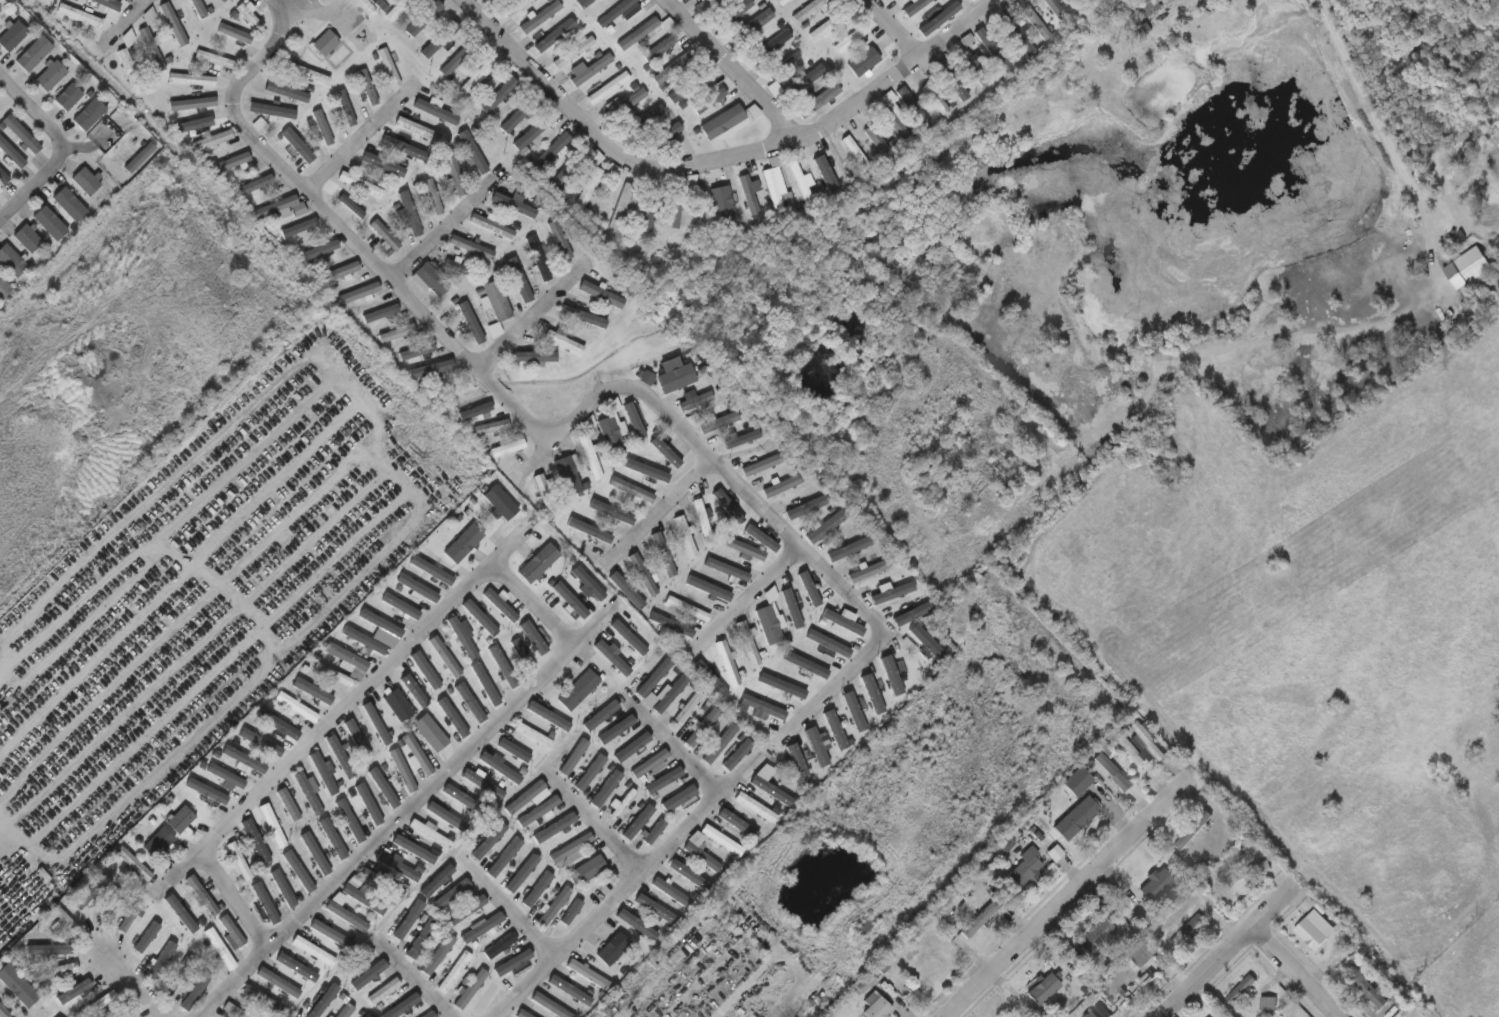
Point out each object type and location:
building: (229, 0)
building: (490, 0)
building: (890, 0)
building: (781, 2)
building: (584, 3)
building: (106, 4)
building: (706, 4)
building: (1087, 4)
building: (380, 5)
building: (507, 7)
building: (915, 7)
building: (0, 8)
building: (1150, 8)
building: (399, 9)
building: (810, 9)
road: (296, 10)
building: (1056, 10)
building: (616, 13)
building: (539, 16)
building: (248, 17)
building: (936, 19)
building: (82, 22)
building: (1036, 23)
building: (172, 24)
building: (831, 24)
road: (127, 25)
building: (750, 26)
road: (890, 30)
building: (645, 31)
building: (234, 34)
building: (12, 36)
building: (850, 39)
building: (444, 40)
building: (326, 43)
building: (770, 46)
building: (151, 48)
building: (996, 50)
building: (573, 52)
building: (32, 54)
building: (866, 59)
building: (215, 60)
building: (459, 60)
building: (129, 64)
road: (726, 67)
building: (976, 67)
building: (390, 69)
building: (591, 69)
building: (674, 69)
building: (308, 74)
building: (49, 75)
building: (477, 78)
building: (561, 79)
building: (191, 80)
road: (939, 82)
building: (689, 87)
building: (608, 88)
building: (285, 92)
building: (831, 92)
building: (498, 95)
building: (67, 97)
building: (626, 103)
building: (192, 104)
building: (273, 112)
building: (87, 116)
building: (722, 122)
building: (190, 124)
road: (48, 125)
building: (897, 126)
building: (323, 127)
building: (418, 131)
building: (19, 134)
building: (672, 136)
building: (878, 140)
building: (213, 141)
road: (357, 144)
building: (403, 146)
building: (560, 148)
building: (856, 152)
building: (10, 155)
building: (139, 157)
road: (715, 158)
building: (235, 163)
building: (576, 166)
building: (3, 178)
building: (452, 178)
building: (84, 181)
building: (800, 182)
building: (364, 184)
building: (596, 184)
building: (771, 189)
building: (748, 195)
road: (21, 199)
building: (65, 200)
building: (679, 201)
building: (276, 207)
building: (621, 208)
building: (409, 214)
building: (49, 222)
building: (491, 225)
building: (300, 229)
road: (442, 230)
road: (343, 233)
building: (385, 235)
building: (25, 239)
building: (470, 247)
building: (321, 252)
building: (536, 258)
building: (10, 261)
building: (458, 269)
building: (339, 273)
building: (429, 285)
building: (3, 288)
building: (359, 294)
building: (600, 294)
building: (497, 306)
road: (534, 314)
building: (381, 315)
road: (1339, 326)
building: (397, 335)
building: (565, 341)
building: (423, 353)
building: (695, 402)
building: (717, 422)
building: (588, 425)
building: (491, 427)
building: (612, 428)
building: (507, 448)
building: (589, 456)
building: (761, 464)
building: (651, 468)
building: (993, 472)
building: (566, 475)
building: (781, 484)
road: (171, 485)
building: (631, 490)
building: (544, 492)
road: (416, 496)
building: (500, 501)
road: (763, 510)
road: (658, 514)
building: (700, 517)
building: (685, 535)
building: (463, 543)
building: (745, 548)
building: (663, 553)
building: (538, 563)
building: (870, 570)
building: (434, 572)
building: (642, 572)
road: (745, 602)
road: (536, 603)
building: (399, 605)
building: (686, 607)
building: (770, 618)
building: (379, 622)
building: (362, 639)
building: (629, 639)
building: (748, 641)
building: (523, 654)
building: (347, 659)
building: (445, 659)
building: (502, 666)
building: (333, 675)
building: (711, 675)
building: (653, 677)
building: (413, 684)
building: (485, 684)
building: (578, 690)
building: (670, 692)
building: (470, 702)
building: (397, 704)
building: (688, 706)
building: (296, 707)
building: (279, 724)
building: (702, 726)
road: (324, 730)
building: (430, 733)
building: (533, 735)
building: (356, 738)
building: (1148, 743)
road: (676, 746)
building: (514, 749)
building: (1131, 750)
building: (416, 754)
building: (575, 757)
building: (341, 758)
building: (243, 760)
building: (649, 762)
building: (499, 766)
building: (401, 770)
building: (1114, 771)
building: (323, 774)
building: (225, 776)
building: (661, 781)
building: (1077, 781)
building: (484, 785)
building: (526, 797)
building: (366, 802)
building: (288, 804)
building: (456, 805)
building: (755, 807)
building: (1104, 810)
building: (538, 811)
road: (405, 814)
building: (1074, 815)
building: (180, 819)
building: (349, 820)
road: (595, 823)
building: (272, 825)
road: (5, 829)
building: (1192, 830)
building: (429, 833)
building: (655, 834)
road: (5, 838)
building: (721, 840)
building: (257, 841)
building: (157, 842)
building: (571, 850)
building: (313, 851)
building: (701, 855)
building: (238, 861)
building: (399, 868)
building: (588, 870)
building: (1028, 870)
building: (299, 871)
building: (1248, 872)
building: (687, 877)
building: (1157, 885)
building: (384, 886)
building: (283, 888)
road: (632, 888)
building: (539, 890)
building: (670, 891)
building: (452, 894)
building: (200, 895)
building: (362, 898)
road: (1064, 900)
building: (111, 904)
building: (555, 906)
road: (507, 908)
building: (572, 915)
building: (347, 916)
building: (981, 921)
building: (634, 923)
building: (1122, 924)
building: (481, 927)
building: (862, 928)
building: (1187, 930)
building: (232, 931)
building: (1310, 933)
building: (331, 934)
building: (1096, 935)
building: (499, 945)
building: (612, 948)
building: (314, 951)
building: (1144, 953)
road: (1220, 954)
building: (438, 955)
building: (158, 961)
building: (356, 961)
road: (1298, 971)
building: (53, 972)
building: (454, 972)
building: (931, 973)
building: (588, 974)
building: (372, 975)
building: (176, 978)
road: (412, 978)
building: (282, 982)
building: (16, 986)
road: (134, 986)
building: (1368, 988)
building: (472, 989)
building: (1044, 989)
building: (1138, 989)
building: (1242, 989)
building: (383, 990)
building: (194, 992)
building: (1398, 998)
building: (101, 1004)
building: (550, 1005)
building: (875, 1006)
building: (237, 1010)
building: (347, 1011)
building: (1098, 1011)
building: (3, 1013)
building: (125, 1013)
building: (524, 1014)
building: (432, 1015)
building: (56, 1016)
building: (367, 1016)
building: (1424, 1016)

